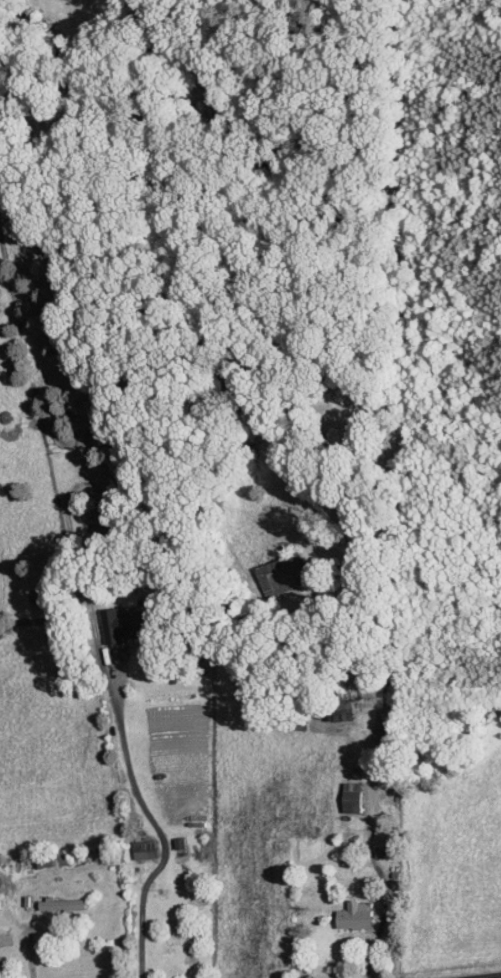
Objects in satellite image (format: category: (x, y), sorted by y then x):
building: (112, 521)
building: (286, 577)
building: (127, 626)
building: (354, 797)
road: (158, 833)
building: (384, 843)
building: (147, 849)
building: (66, 904)
building: (358, 915)
road: (28, 947)

